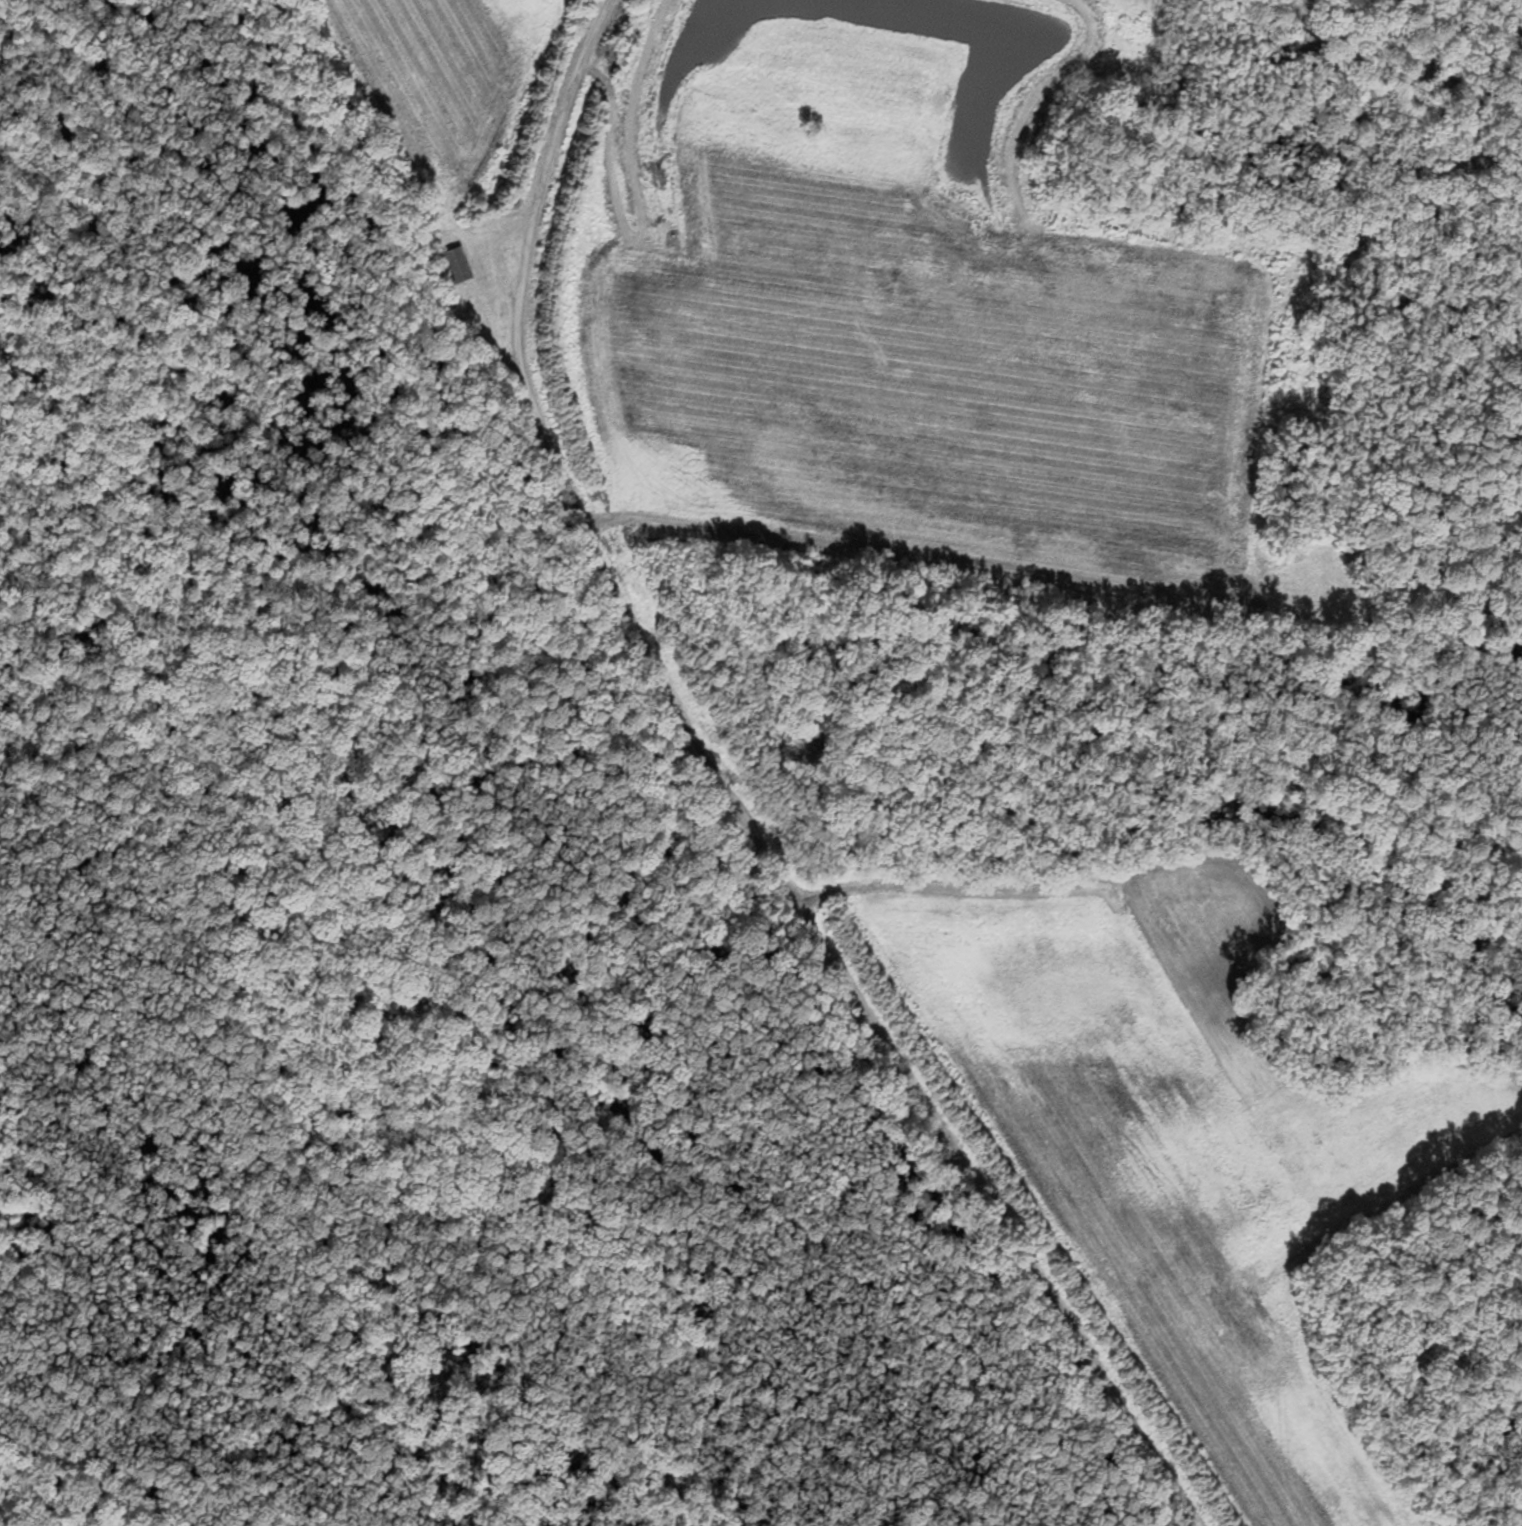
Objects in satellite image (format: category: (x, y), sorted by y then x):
building: (458, 266)
road: (729, 800)

